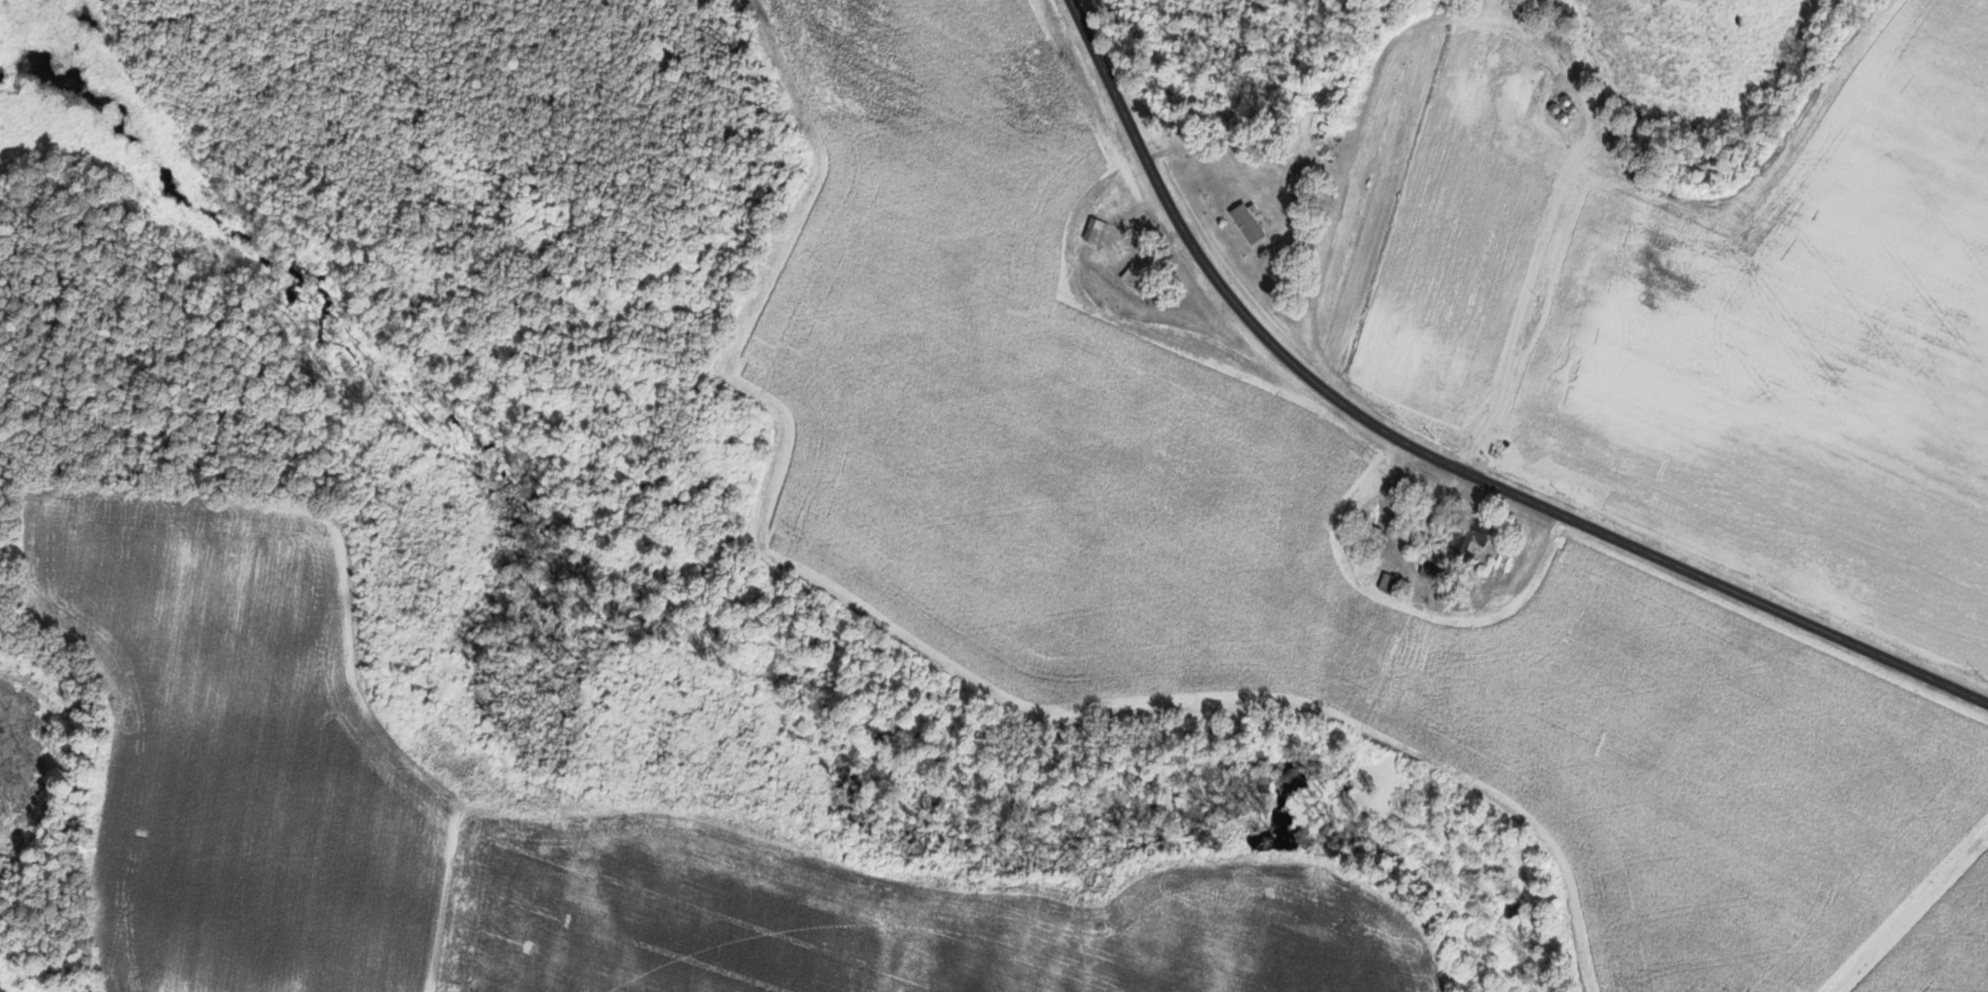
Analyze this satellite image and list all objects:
building: (1512, 110)
building: (1521, 148)
building: (1562, 159)
crop: (1781, 203)
building: (1253, 220)
building: (1097, 232)
building: (1574, 252)
crop: (1929, 263)
building: (1137, 279)
building: (1551, 295)
road: (1437, 456)
crop: (1759, 469)
building: (1376, 533)
building: (1472, 534)
building: (1434, 571)
building: (1392, 584)
crop: (1712, 776)
crop: (340, 796)
crop: (1959, 907)
crop: (1338, 941)
crop: (1904, 970)

